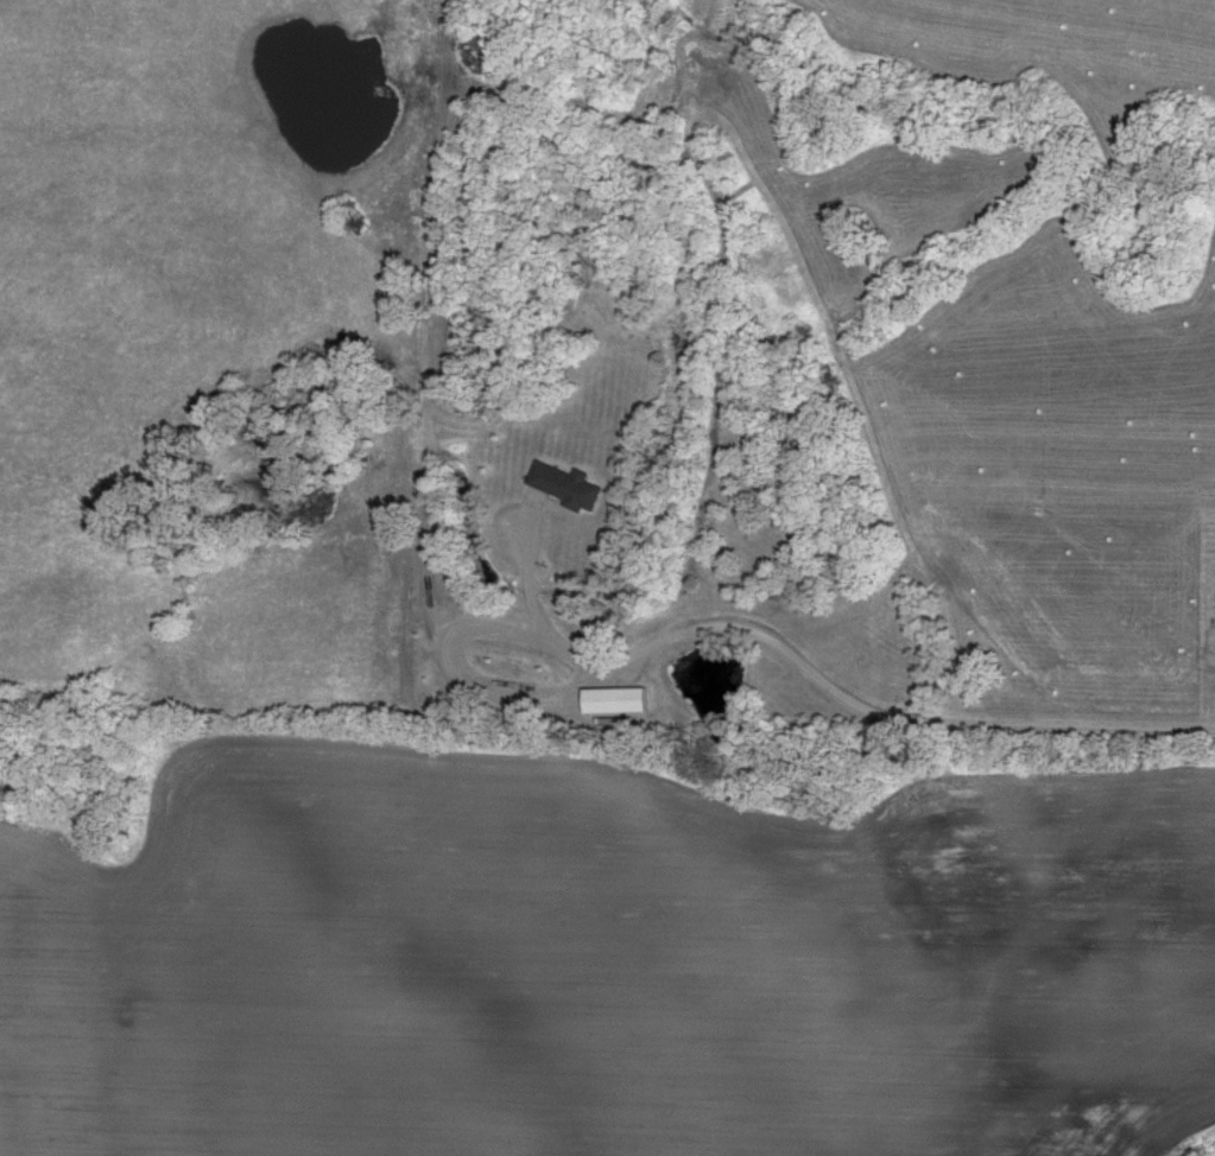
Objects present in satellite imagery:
building: (568, 488)
road: (825, 685)
building: (618, 701)

